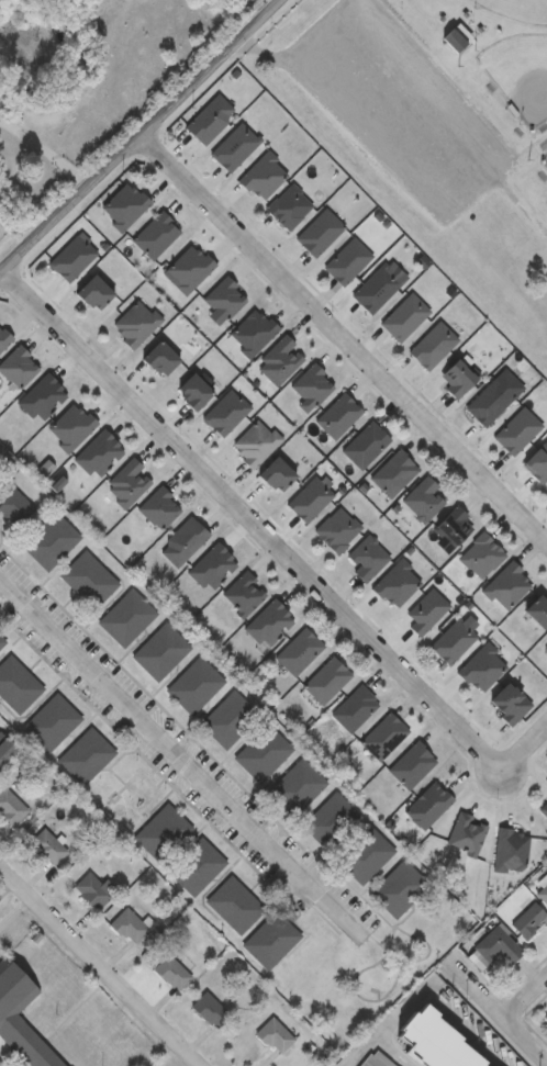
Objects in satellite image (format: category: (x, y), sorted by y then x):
park: (516, 11)
building: (458, 41)
park: (520, 77)
park: (434, 134)
road: (138, 137)
building: (233, 146)
road: (45, 153)
park: (545, 160)
building: (261, 176)
building: (288, 206)
building: (317, 232)
building: (154, 234)
building: (71, 256)
building: (346, 260)
building: (375, 288)
building: (91, 291)
building: (403, 316)
building: (133, 322)
building: (250, 330)
building: (3, 337)
road: (342, 344)
building: (431, 344)
building: (157, 356)
building: (16, 366)
building: (455, 375)
building: (191, 390)
building: (40, 396)
building: (488, 401)
building: (224, 411)
building: (515, 429)
building: (253, 441)
building: (364, 442)
building: (536, 461)
building: (273, 472)
building: (392, 472)
building: (422, 497)
building: (14, 505)
building: (451, 524)
road: (257, 527)
building: (336, 528)
building: (49, 540)
building: (479, 554)
building: (366, 557)
building: (88, 579)
building: (504, 585)
building: (536, 607)
building: (125, 616)
building: (1, 640)
building: (545, 646)
building: (159, 650)
building: (297, 650)
building: (324, 678)
building: (16, 684)
building: (193, 684)
building: (506, 702)
building: (353, 706)
building: (228, 718)
building: (51, 721)
building: (382, 734)
building: (4, 748)
road: (181, 752)
building: (261, 752)
building: (85, 755)
road: (528, 763)
building: (410, 764)
building: (295, 786)
building: (426, 804)
building: (10, 807)
building: (328, 819)
building: (160, 831)
building: (464, 831)
building: (45, 845)
building: (507, 849)
building: (364, 854)
building: (196, 865)
building: (398, 887)
building: (91, 888)
building: (542, 890)
building: (234, 905)
building: (527, 919)
building: (127, 925)
building: (270, 939)
building: (494, 945)
road: (104, 962)
building: (169, 970)
road: (528, 994)
road: (500, 1002)
building: (208, 1008)
road: (450, 1012)
building: (20, 1020)
building: (272, 1034)
building: (373, 1059)

